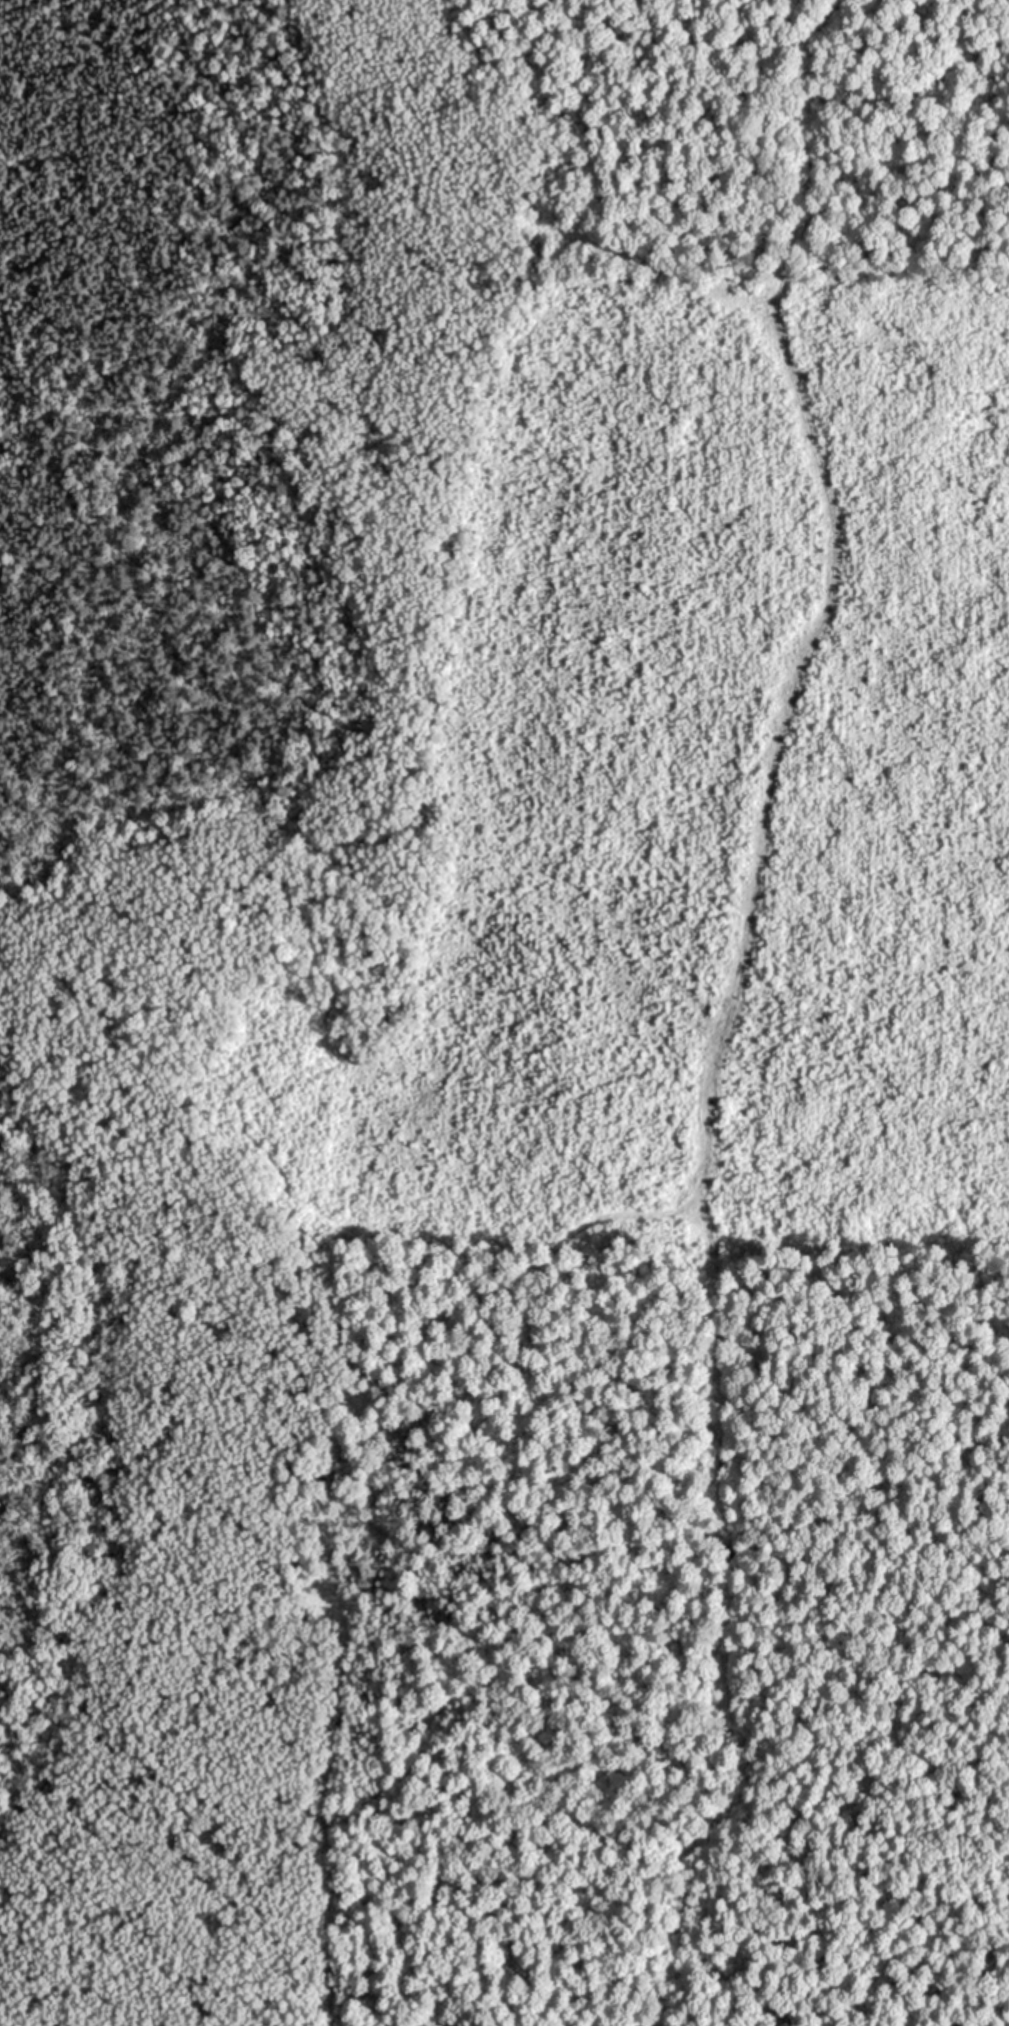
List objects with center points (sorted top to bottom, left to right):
road: (719, 1001)

